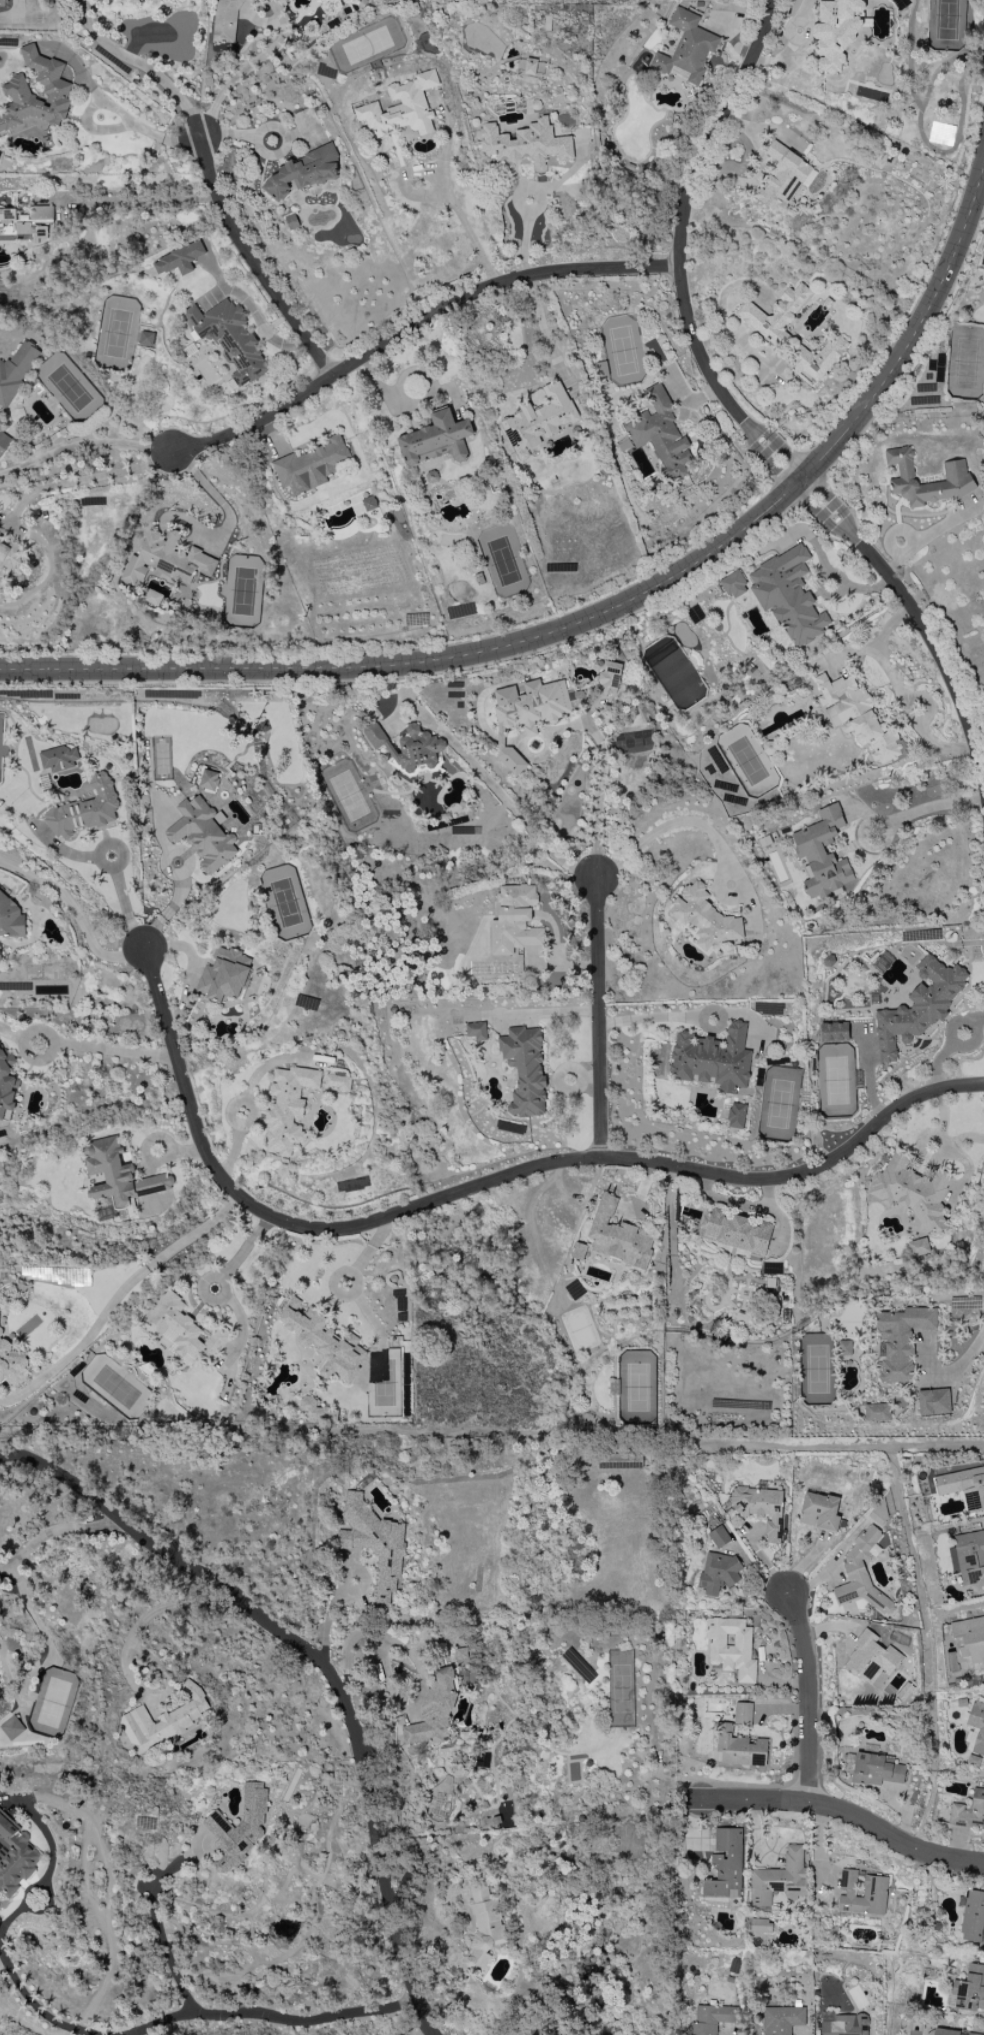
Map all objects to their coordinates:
building: (2, 3)
building: (225, 21)
building: (835, 31)
building: (686, 49)
road: (142, 65)
road: (245, 66)
building: (529, 67)
building: (15, 89)
building: (401, 107)
road: (146, 127)
building: (526, 144)
building: (302, 172)
building: (781, 178)
road: (151, 198)
building: (24, 219)
road: (684, 222)
road: (468, 235)
road: (523, 241)
building: (178, 260)
road: (253, 268)
road: (414, 332)
road: (545, 335)
building: (777, 337)
road: (915, 337)
building: (145, 338)
building: (228, 338)
road: (736, 340)
building: (15, 371)
building: (538, 420)
building: (660, 434)
building: (3, 441)
road: (83, 445)
road: (779, 461)
building: (310, 466)
building: (955, 472)
road: (88, 478)
road: (216, 499)
road: (817, 500)
building: (368, 503)
building: (9, 555)
road: (822, 558)
building: (165, 559)
building: (733, 585)
building: (787, 595)
building: (152, 598)
road: (931, 638)
road: (424, 664)
building: (608, 680)
road: (897, 693)
building: (526, 715)
building: (855, 717)
building: (406, 746)
building: (767, 748)
building: (58, 758)
road: (601, 763)
building: (207, 780)
road: (495, 790)
road: (924, 808)
building: (84, 810)
road: (709, 832)
building: (202, 834)
building: (822, 854)
road: (595, 863)
road: (124, 905)
road: (170, 909)
road: (75, 913)
building: (703, 917)
building: (10, 919)
building: (513, 920)
building: (0, 958)
building: (224, 975)
road: (714, 1007)
building: (918, 1007)
road: (548, 1015)
road: (749, 1015)
road: (596, 1018)
road: (647, 1018)
building: (475, 1031)
building: (833, 1032)
road: (107, 1051)
building: (711, 1059)
road: (264, 1068)
building: (524, 1069)
road: (589, 1076)
road: (868, 1077)
building: (337, 1082)
building: (6, 1085)
road: (576, 1089)
building: (286, 1108)
road: (228, 1114)
building: (736, 1116)
road: (232, 1153)
road: (187, 1154)
road: (154, 1163)
building: (118, 1174)
road: (485, 1185)
building: (911, 1192)
building: (733, 1231)
building: (618, 1236)
building: (918, 1247)
building: (578, 1251)
road: (116, 1297)
building: (181, 1330)
building: (323, 1341)
building: (898, 1341)
building: (844, 1348)
road: (962, 1364)
building: (11, 1365)
building: (933, 1402)
building: (875, 1412)
road: (492, 1431)
building: (964, 1487)
building: (759, 1508)
building: (818, 1512)
road: (52, 1532)
building: (718, 1537)
building: (967, 1558)
building: (717, 1572)
building: (861, 1574)
road: (327, 1617)
road: (384, 1639)
building: (969, 1639)
building: (730, 1648)
road: (122, 1650)
building: (870, 1658)
road: (322, 1665)
road: (810, 1698)
building: (433, 1711)
building: (742, 1714)
building: (163, 1720)
building: (11, 1728)
building: (975, 1733)
building: (737, 1748)
building: (875, 1770)
road: (839, 1811)
building: (237, 1828)
road: (99, 1845)
building: (14, 1858)
building: (725, 1863)
building: (778, 1879)
road: (27, 1890)
building: (860, 1893)
road: (10, 1917)
building: (973, 1918)
building: (483, 1926)
building: (760, 1926)
road: (160, 1935)
building: (969, 1989)
road: (189, 2012)
building: (711, 2019)
building: (781, 2020)
building: (842, 2024)
building: (949, 2032)

